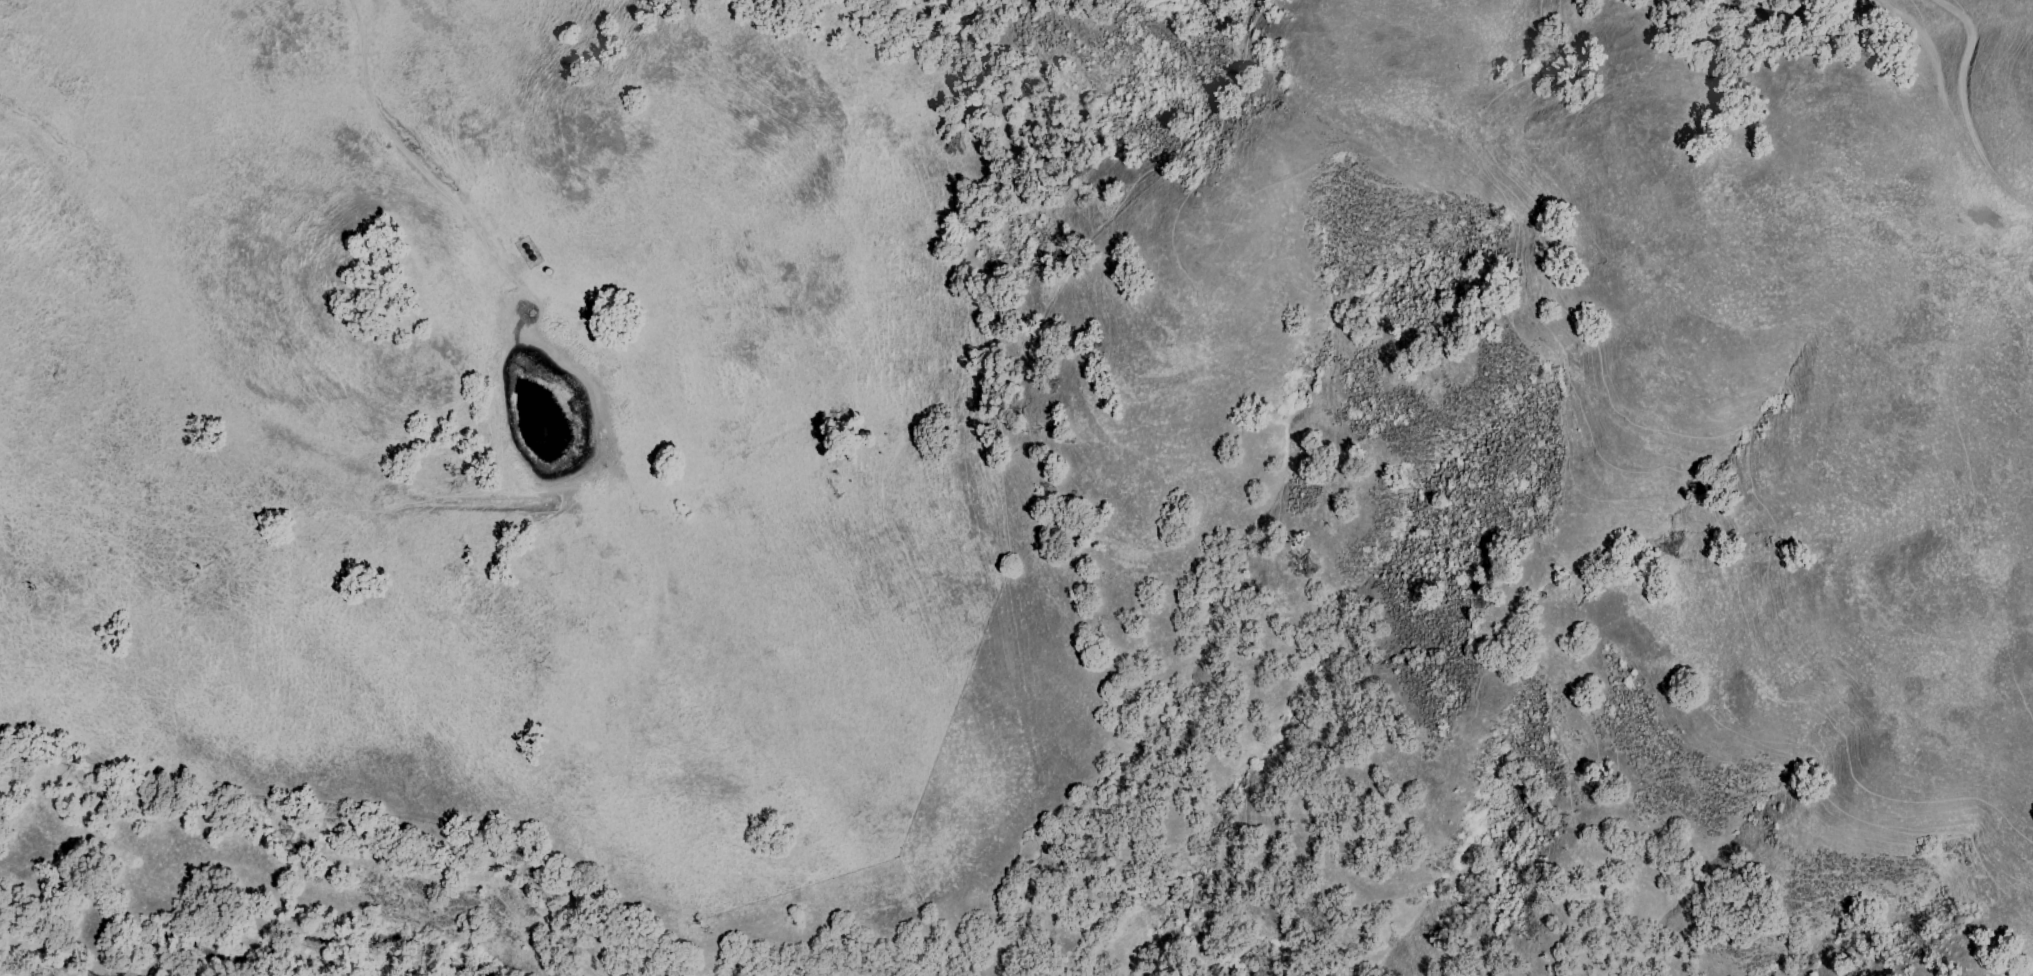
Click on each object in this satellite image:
road: (1965, 110)

